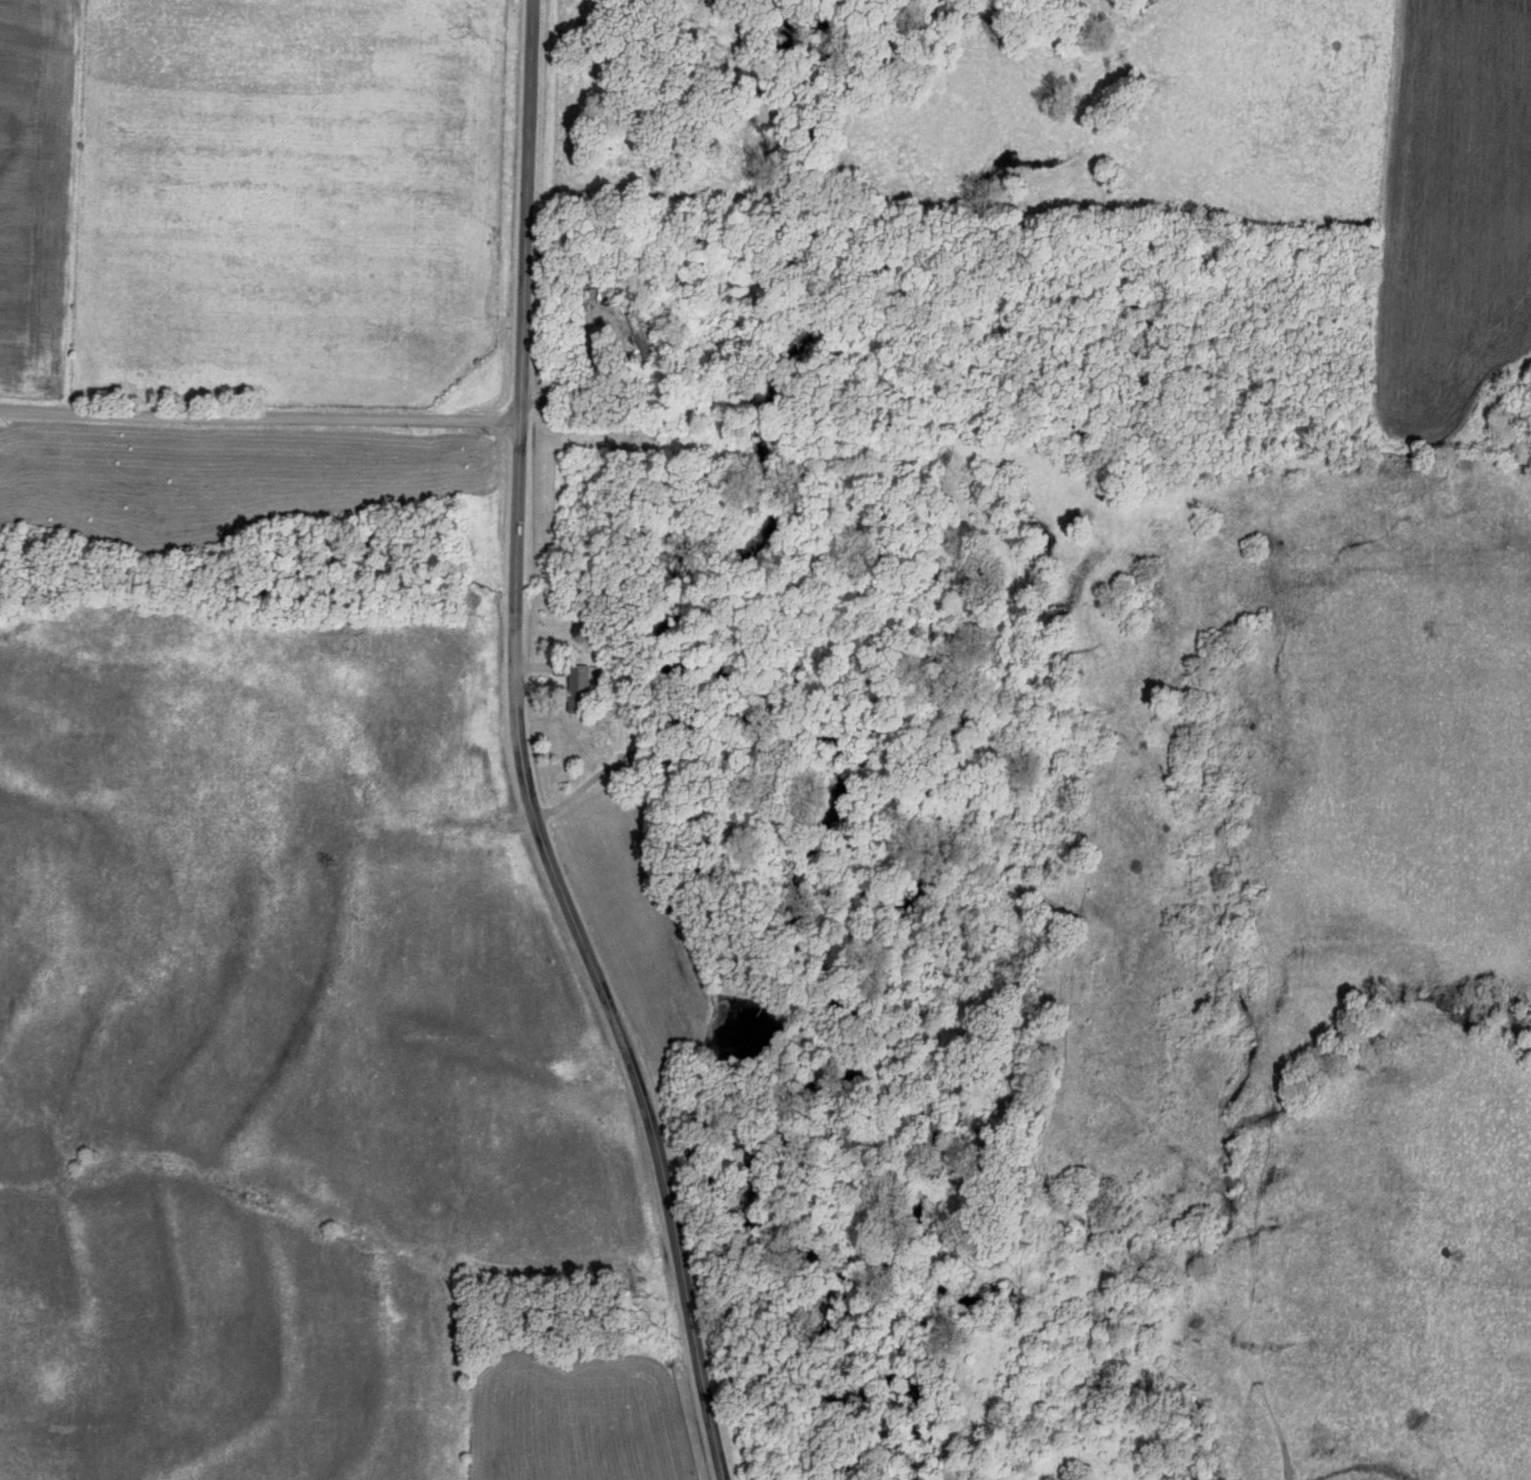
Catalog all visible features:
building: (592, 265)
road: (259, 412)
building: (579, 688)
building: (683, 721)
road: (518, 755)

